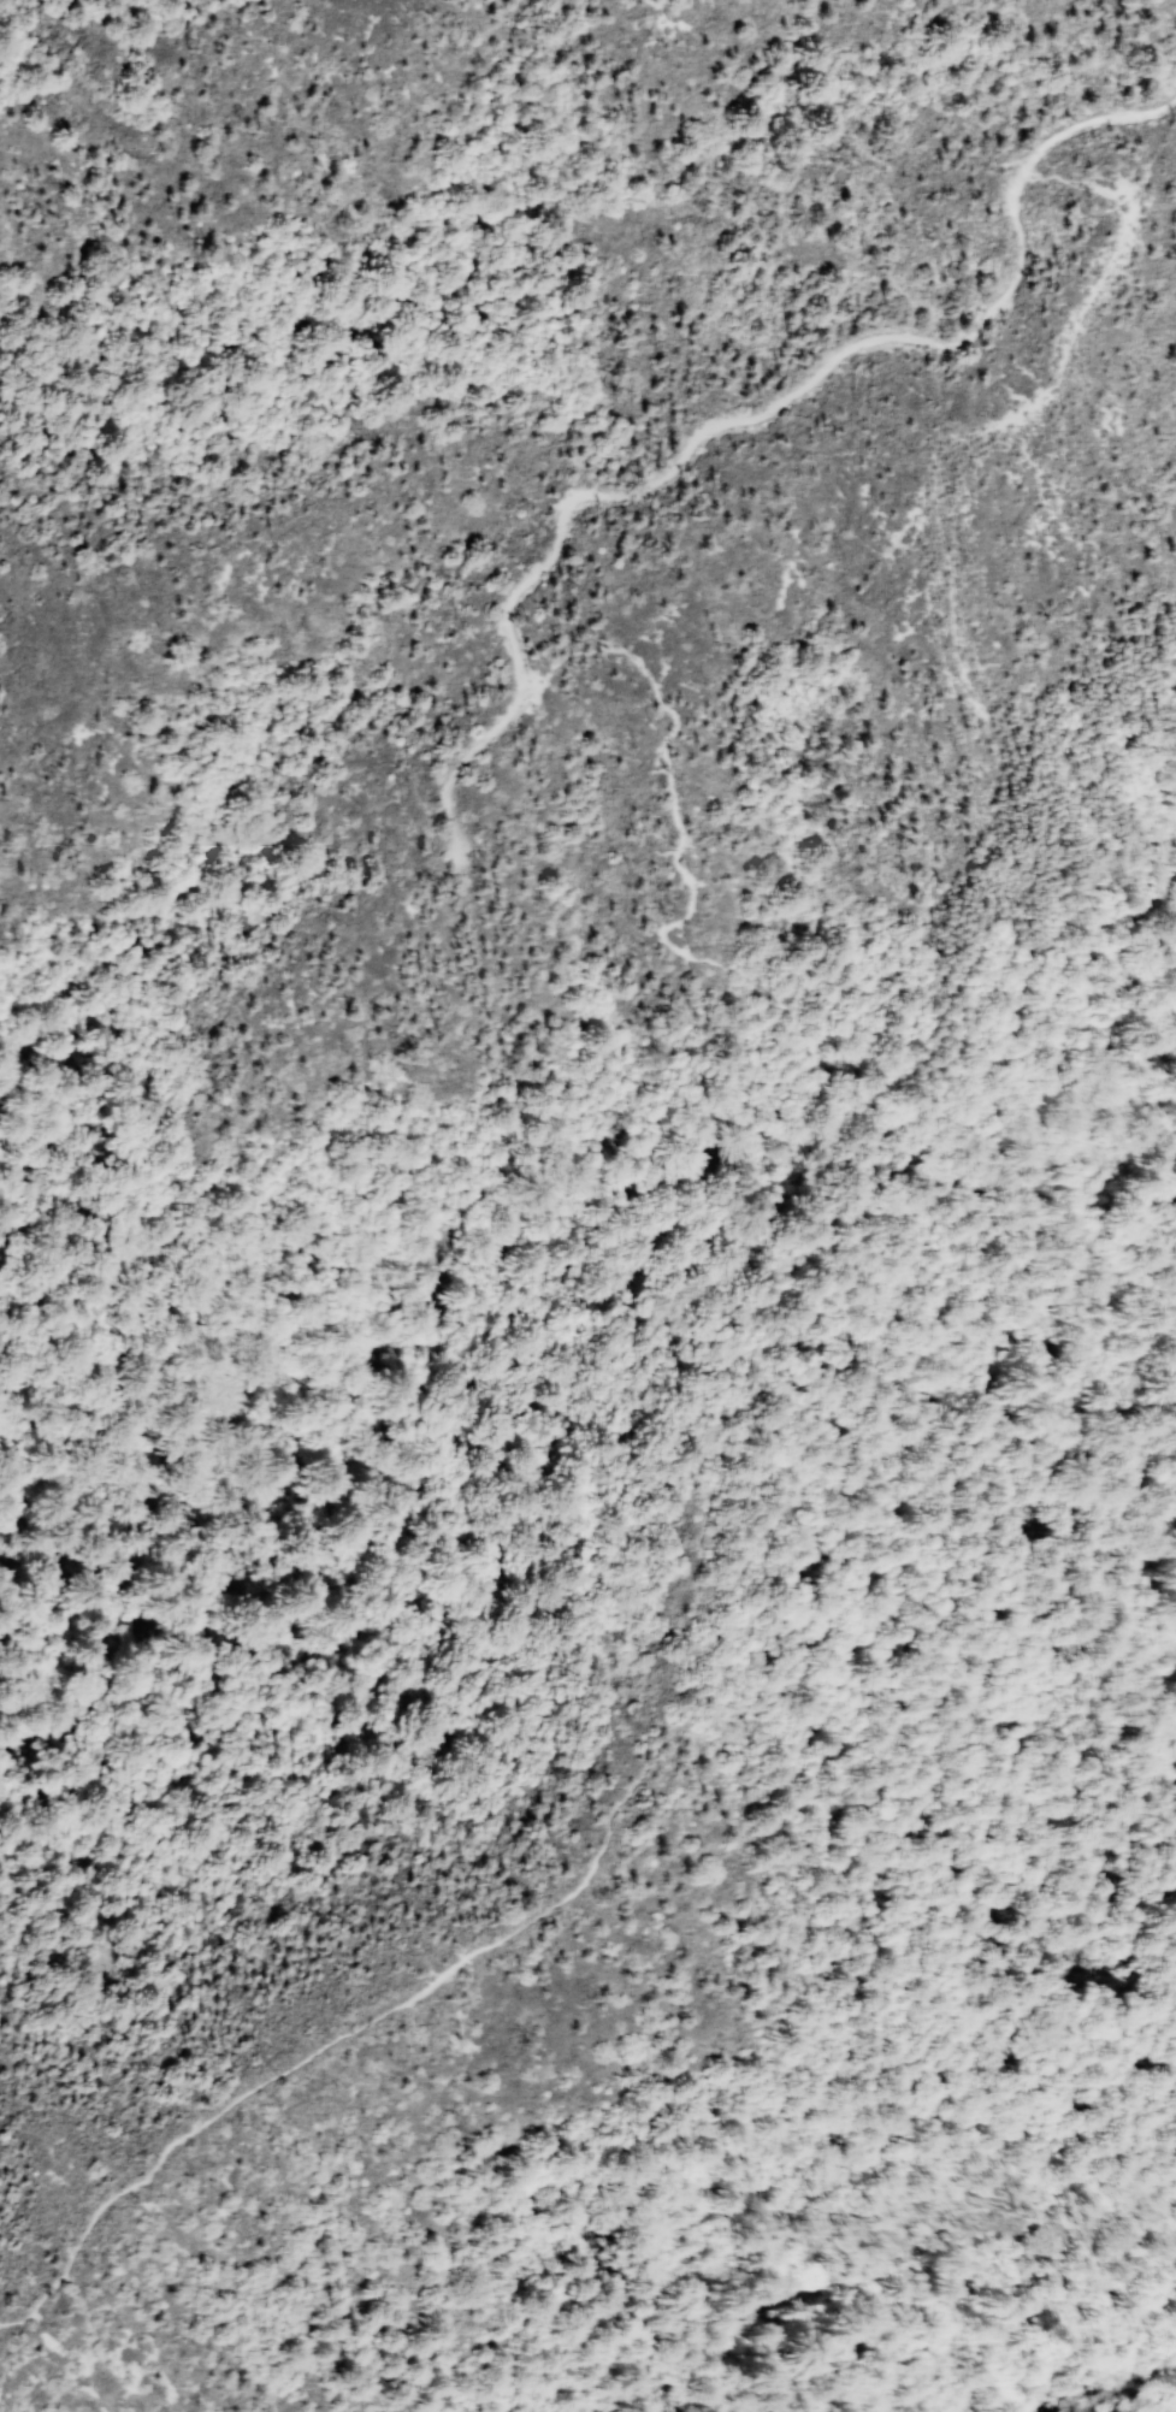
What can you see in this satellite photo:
road: (750, 421)
road: (726, 1432)

